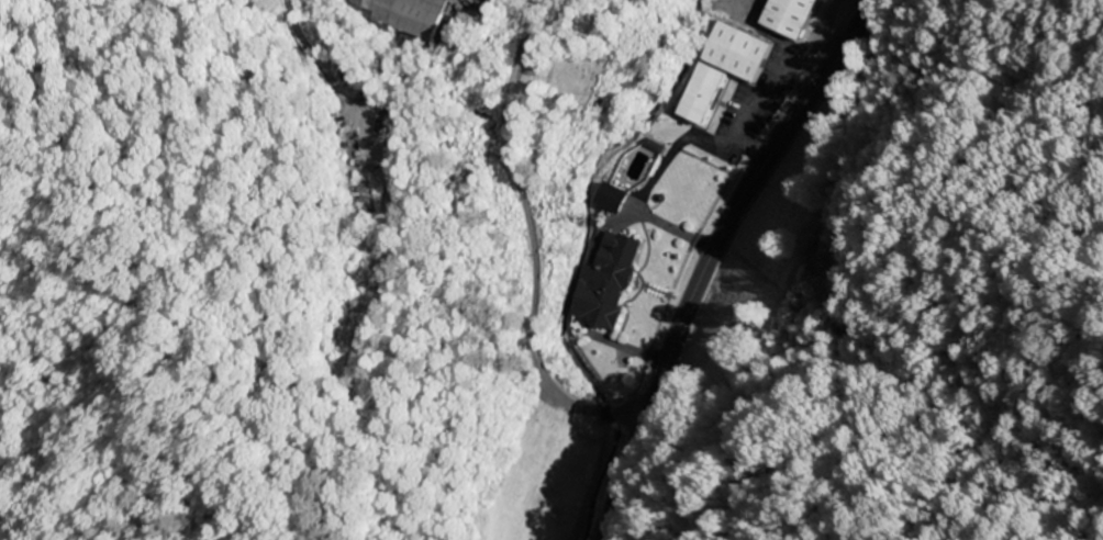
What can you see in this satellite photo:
building: (404, 14)
building: (790, 16)
building: (723, 68)
building: (611, 199)
road: (527, 245)
road: (711, 255)
building: (606, 282)

